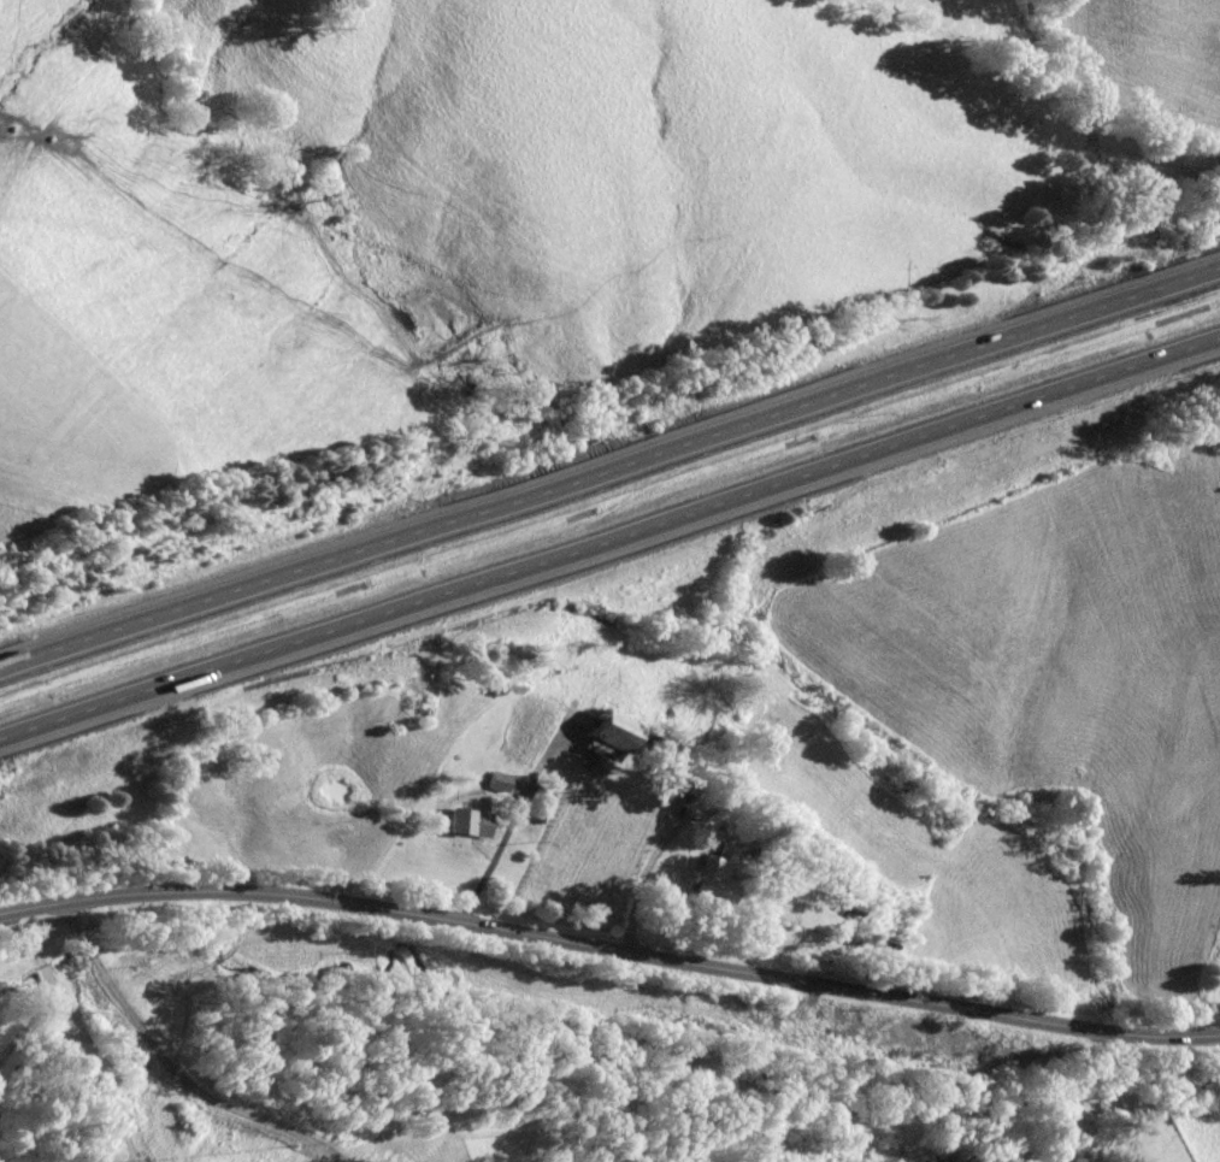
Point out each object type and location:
road: (609, 464)
road: (609, 542)
building: (600, 735)
building: (497, 781)
building: (684, 783)
building: (465, 821)
road: (494, 850)
building: (709, 874)
road: (642, 878)
building: (843, 910)
road: (609, 949)
road: (79, 1033)
road: (172, 1064)
road: (1113, 1097)

